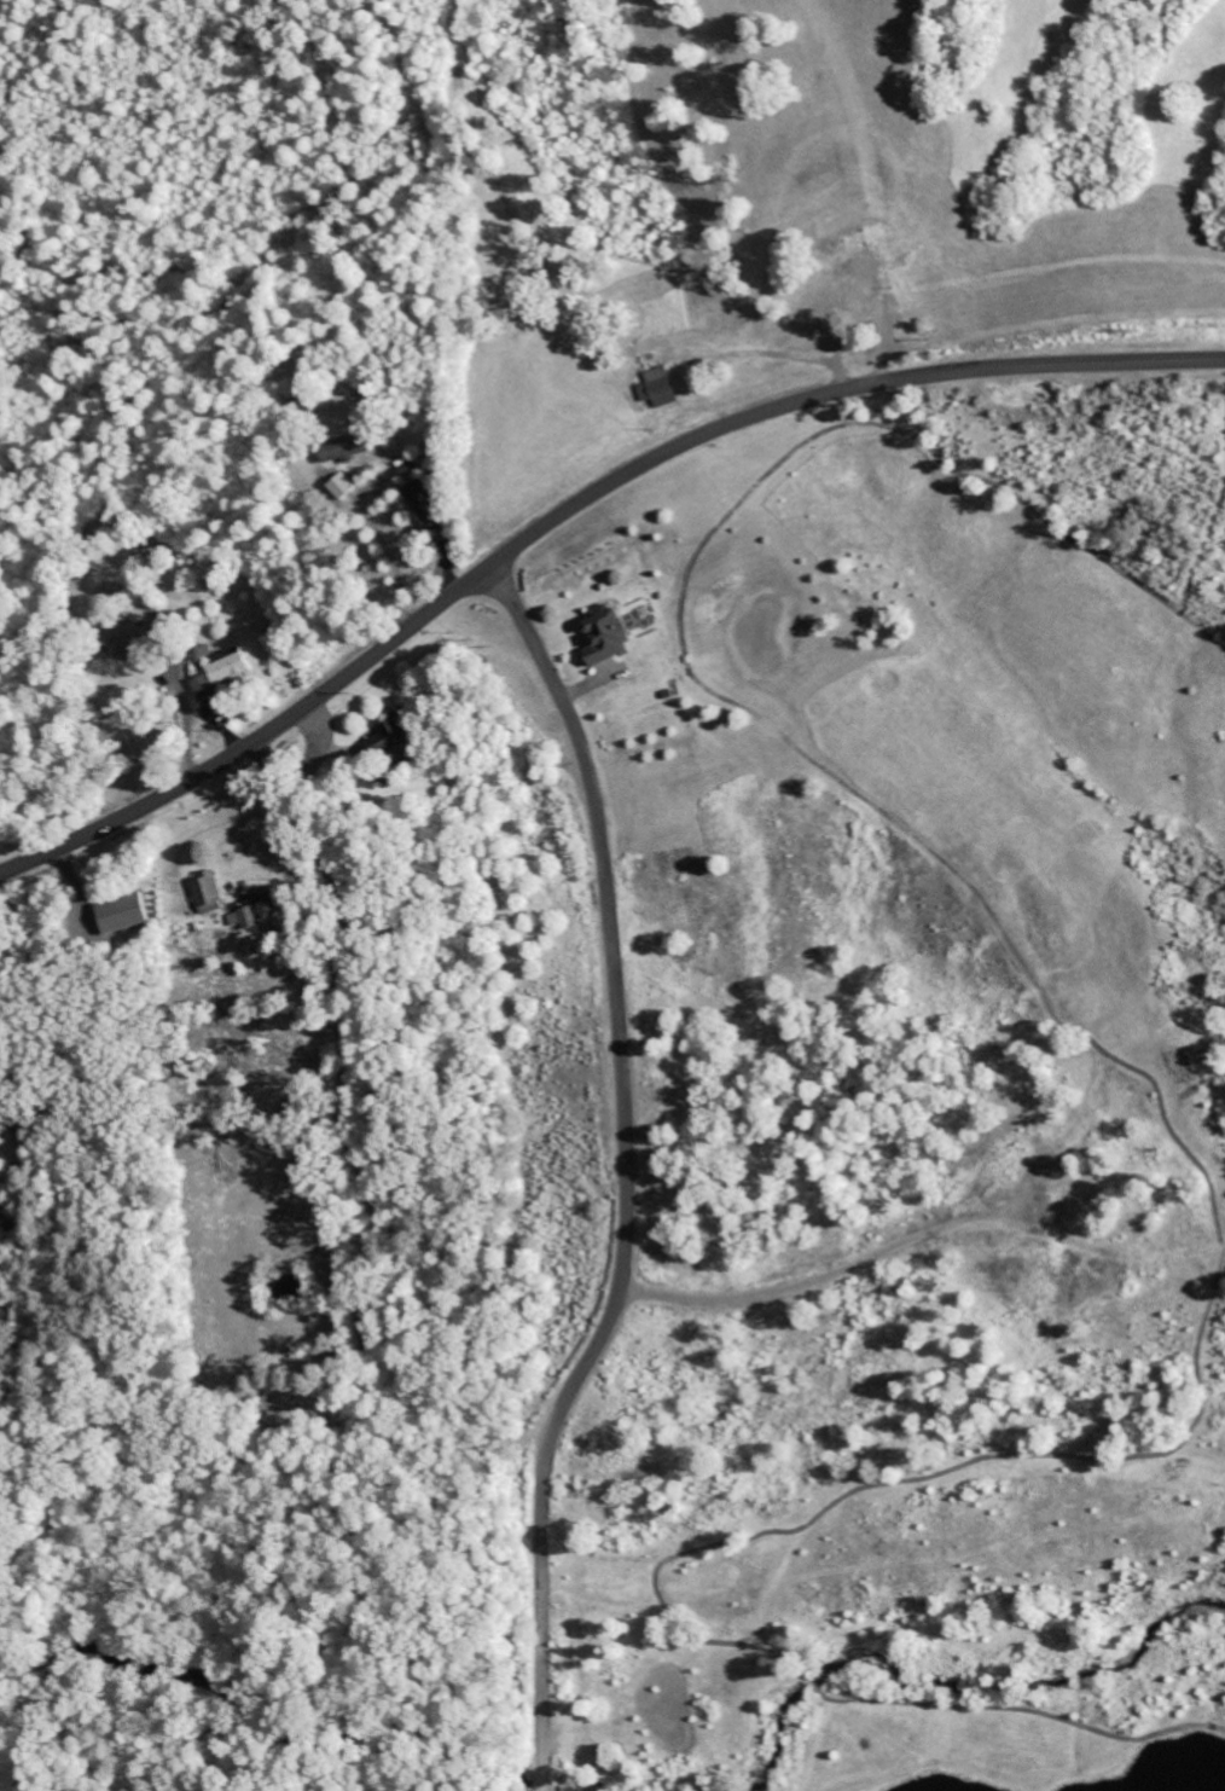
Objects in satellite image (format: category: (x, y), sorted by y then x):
building: (861, 277)
building: (656, 386)
building: (342, 447)
building: (339, 483)
building: (422, 500)
road: (571, 509)
building: (604, 634)
building: (118, 637)
building: (199, 650)
building: (217, 672)
building: (388, 736)
road: (593, 792)
building: (207, 892)
building: (120, 911)
building: (245, 916)
road: (344, 1044)
road: (561, 1408)

